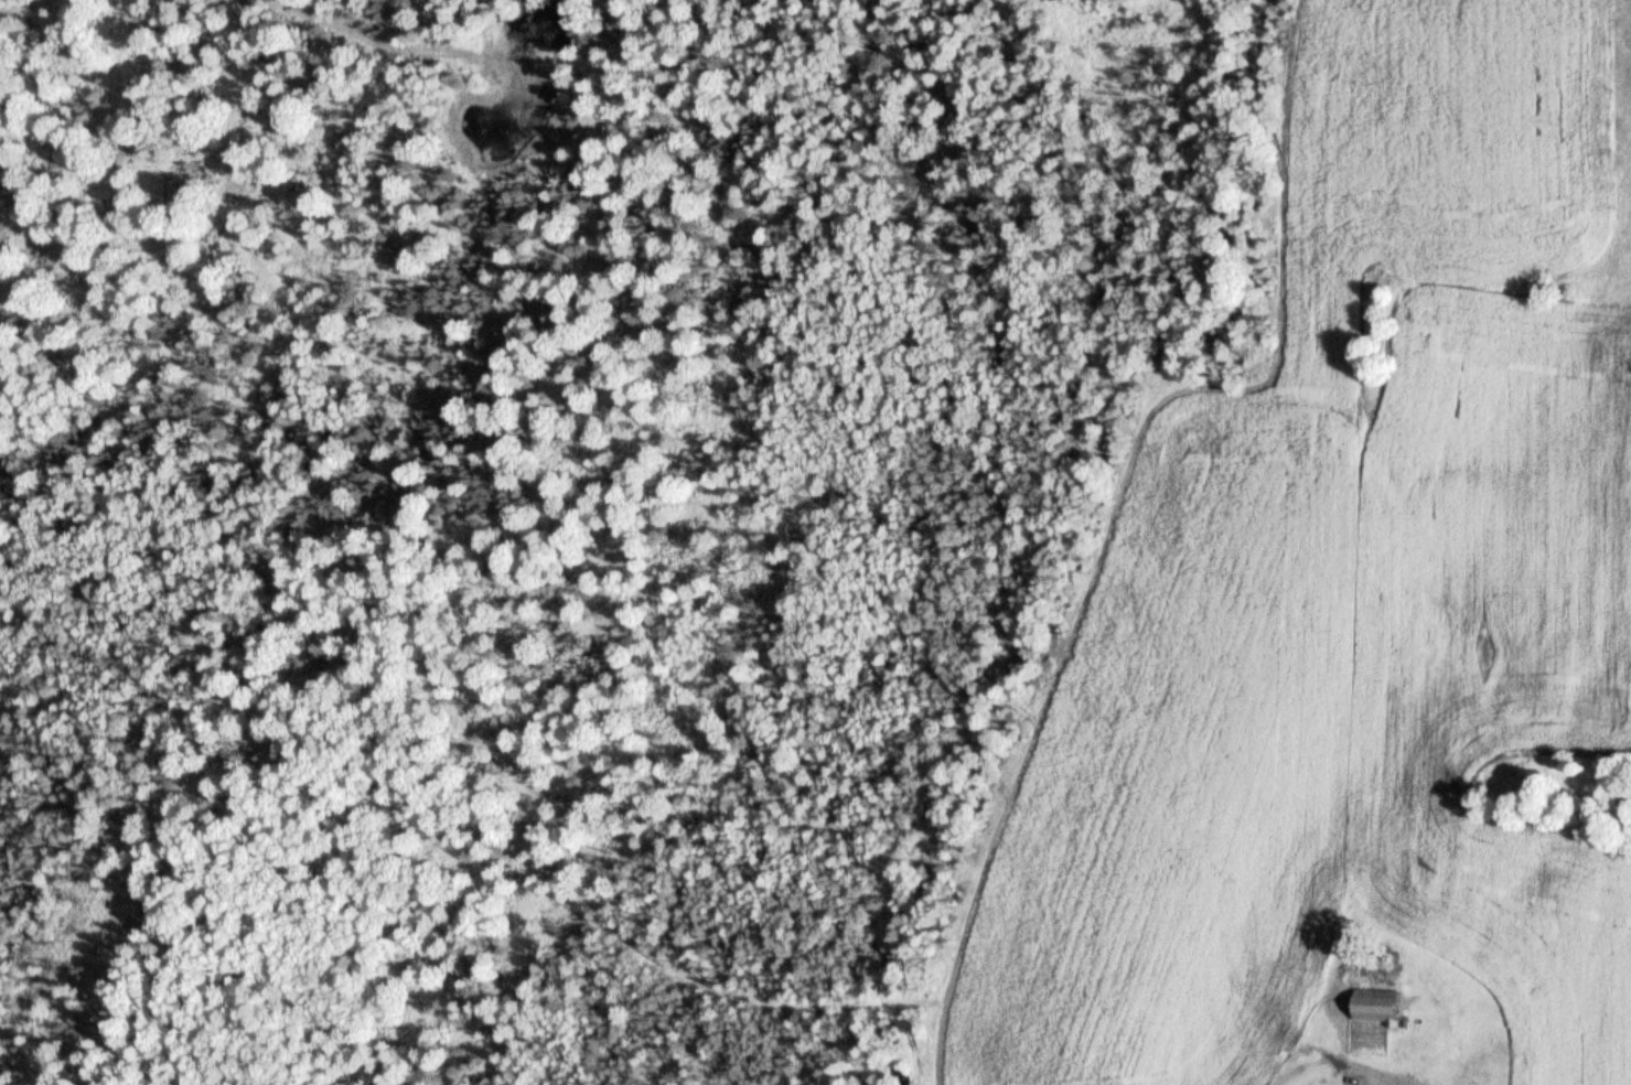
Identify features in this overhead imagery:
building: (1377, 1008)

